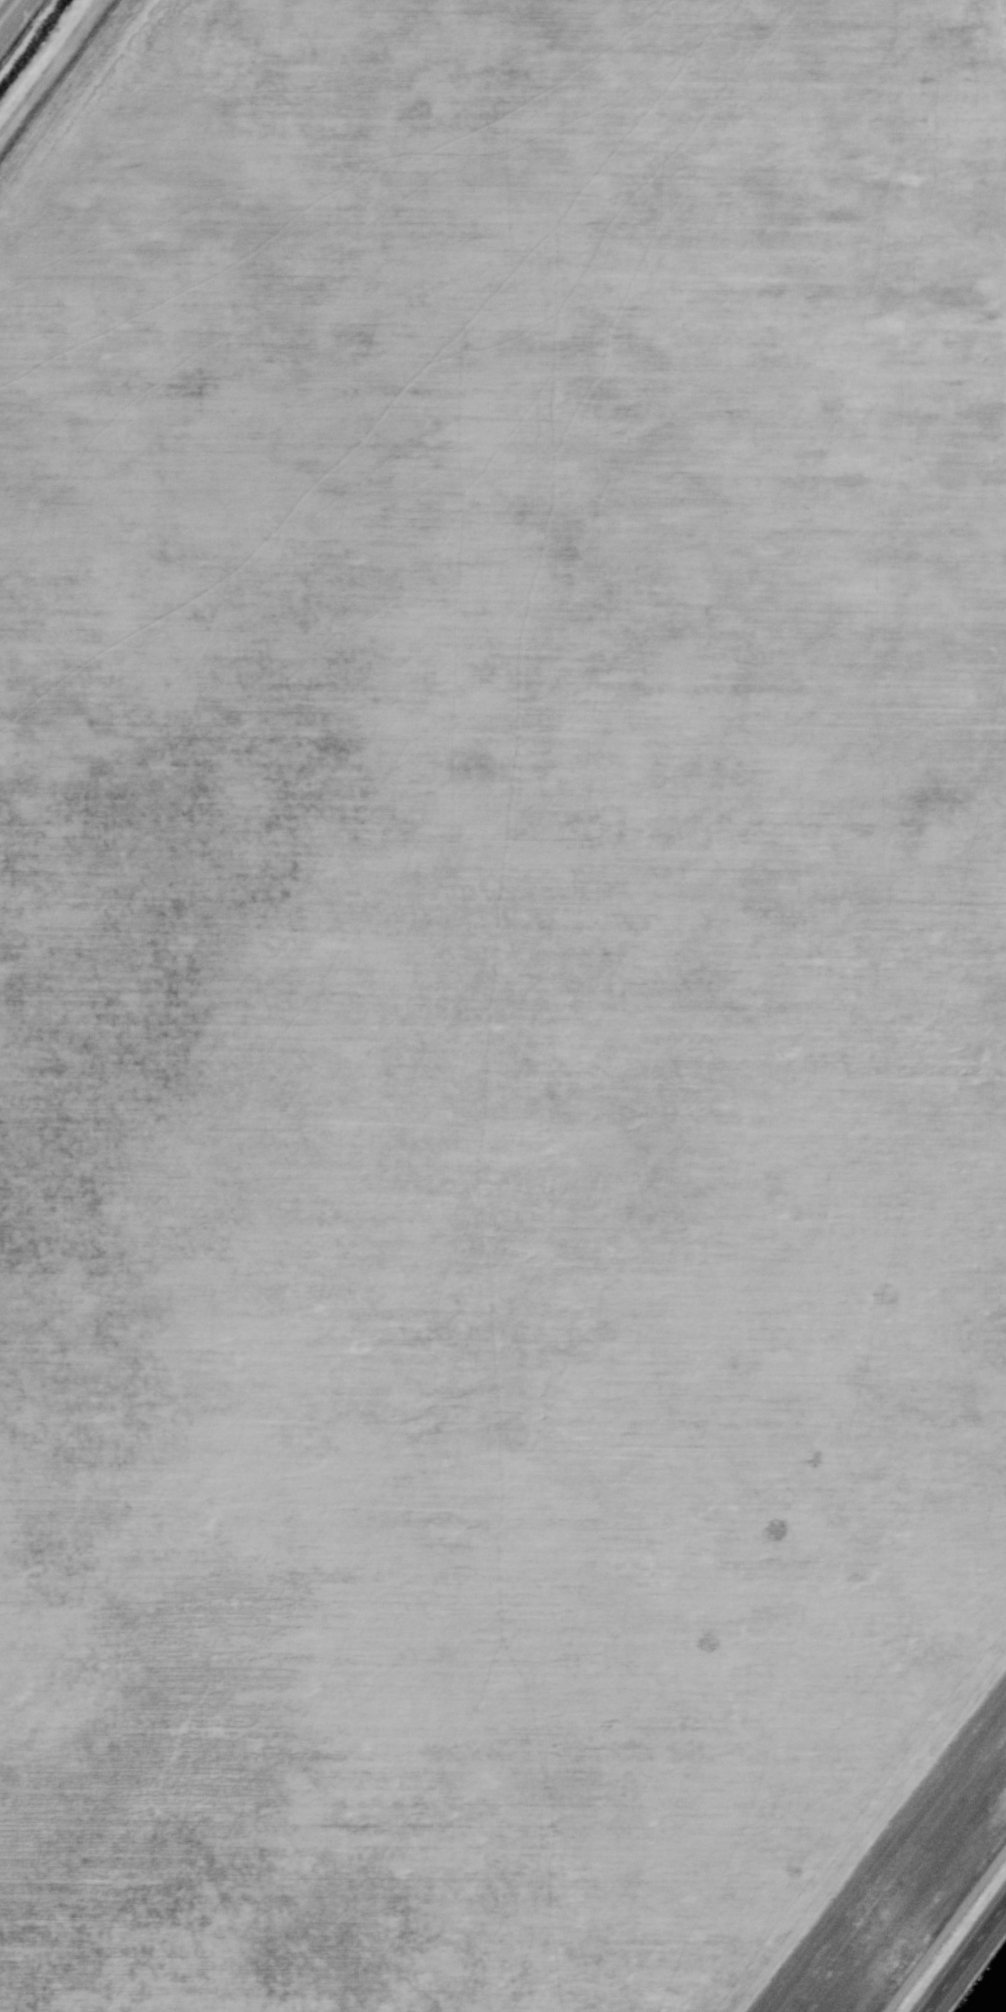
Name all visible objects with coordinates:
crop: (968, 1957)
road: (971, 1965)

